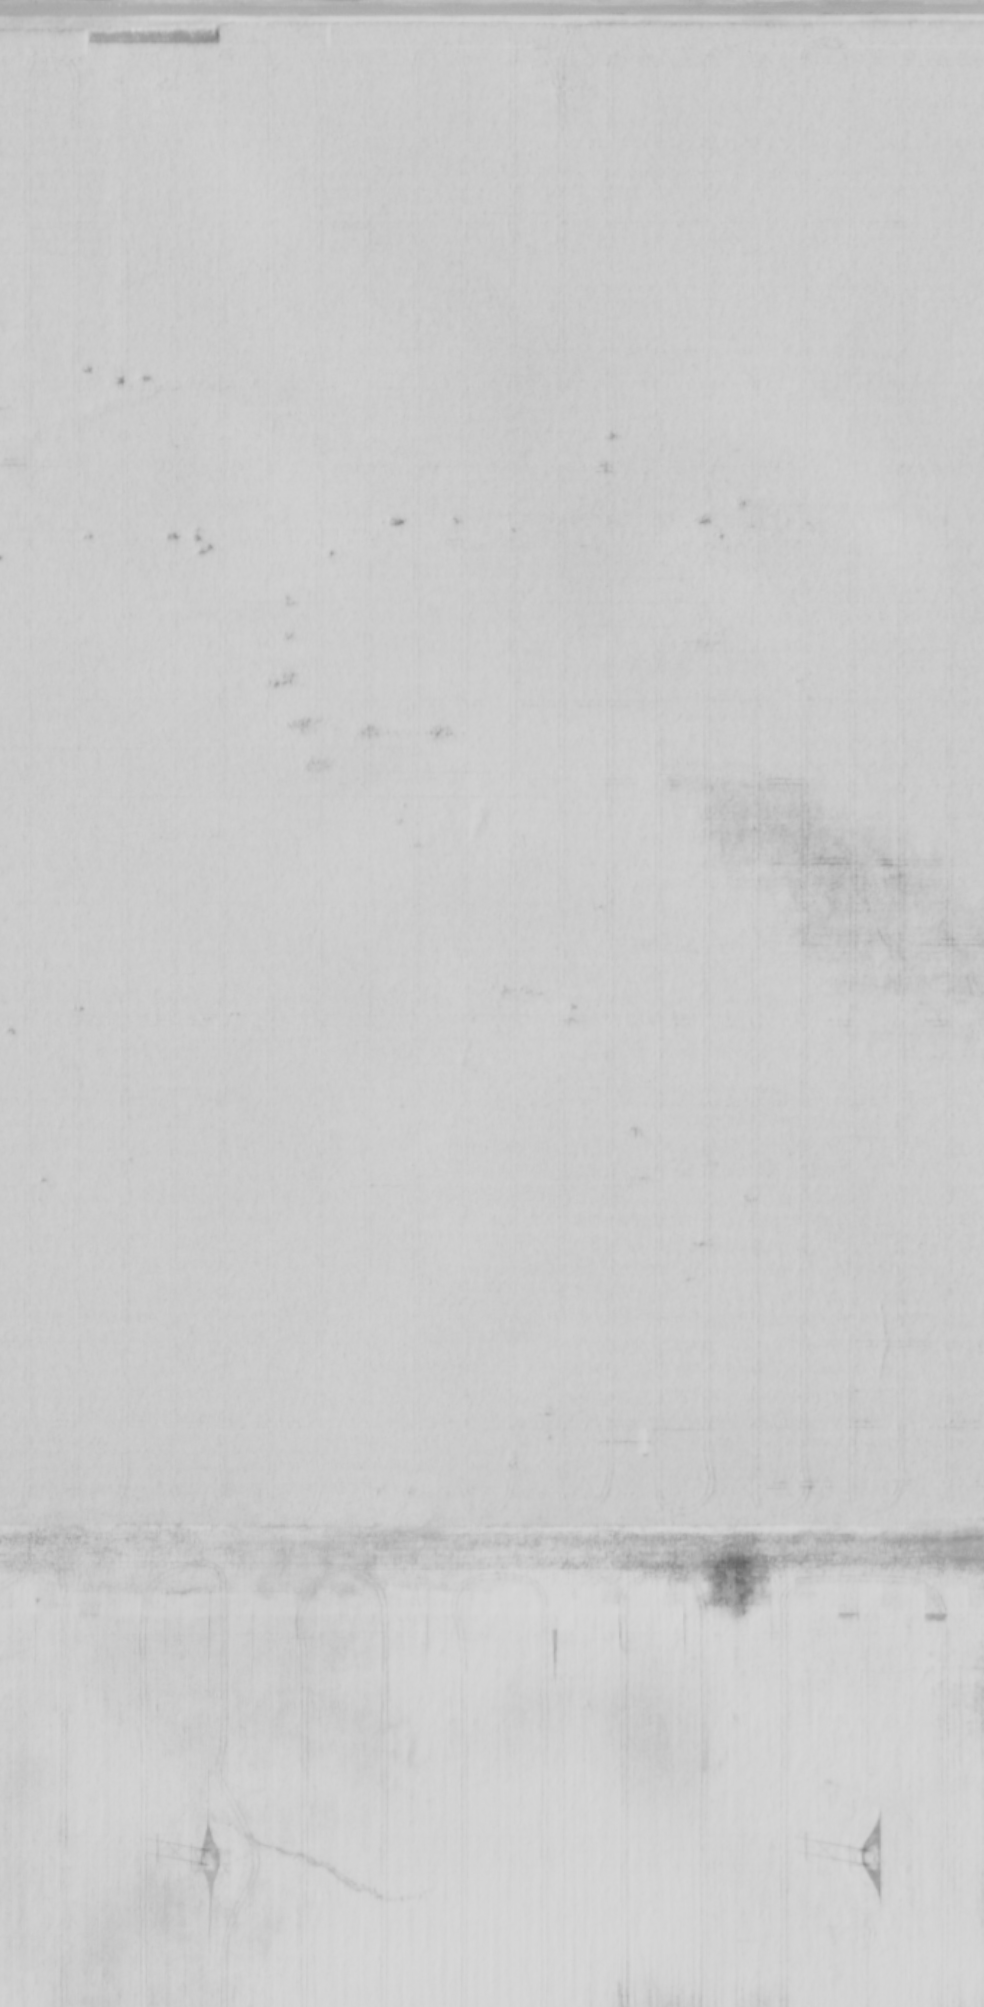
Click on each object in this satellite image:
road: (491, 7)
crop: (492, 1014)
power tower: (205, 1859)
power tower: (871, 1859)

